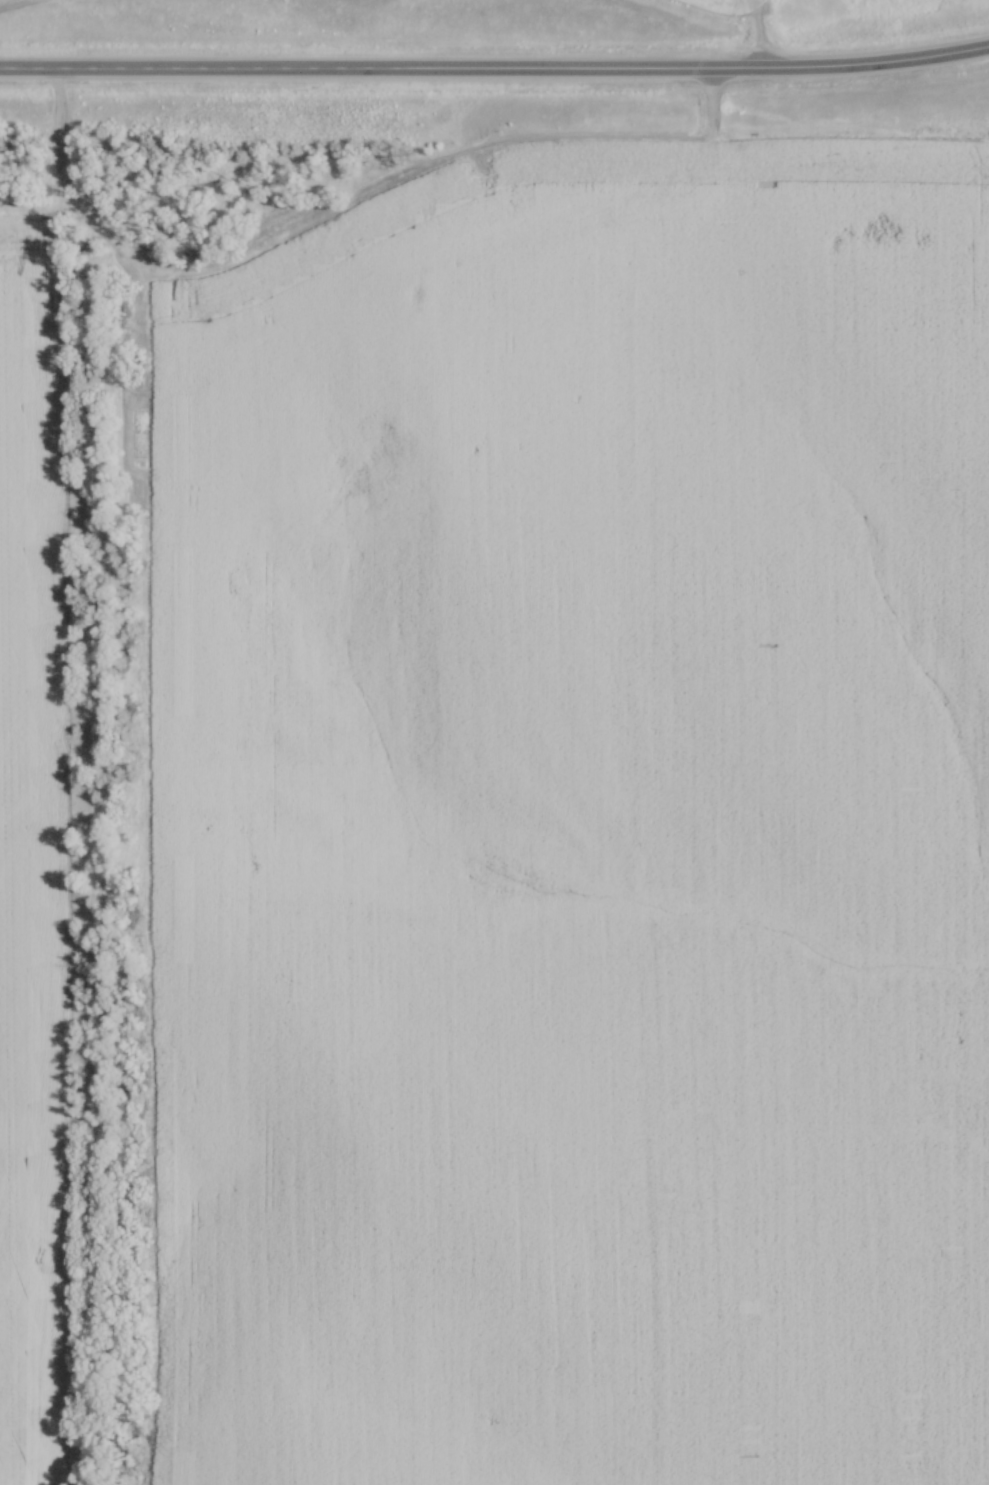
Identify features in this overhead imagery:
road: (754, 36)
road: (495, 80)
road: (565, 231)
building: (350, 261)

